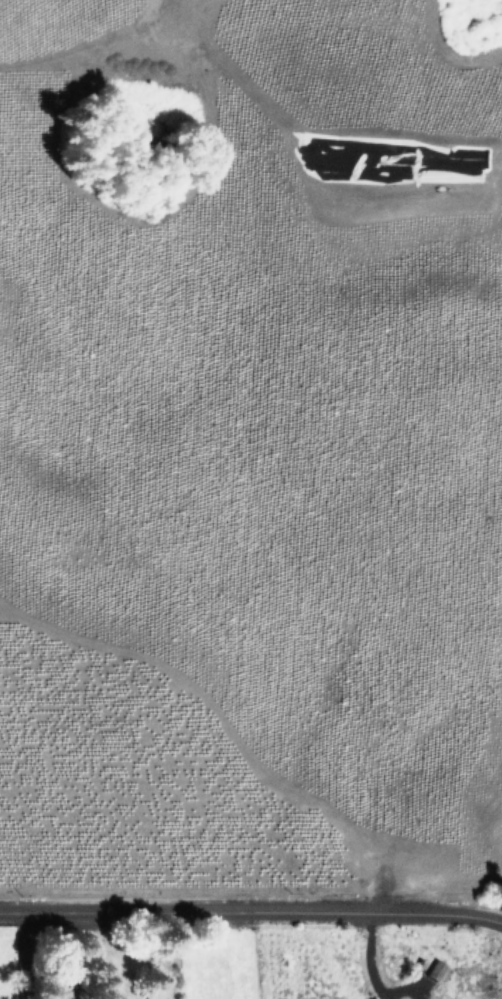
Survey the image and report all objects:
road: (253, 916)
road: (370, 958)
building: (433, 968)

